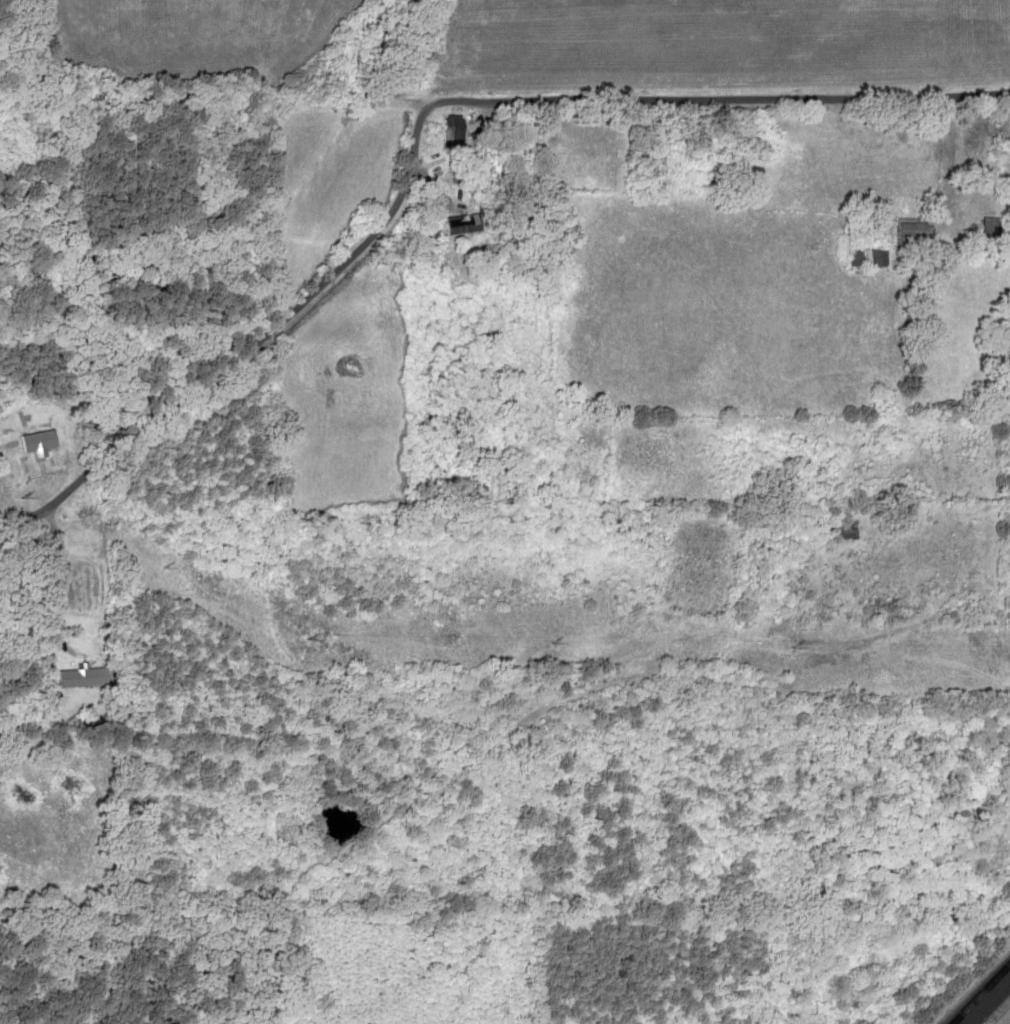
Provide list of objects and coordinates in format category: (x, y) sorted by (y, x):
road: (444, 127)
building: (454, 130)
building: (463, 223)
building: (991, 227)
building: (912, 230)
building: (867, 256)
building: (848, 529)
building: (89, 592)
building: (83, 676)
railway: (983, 996)
railway: (997, 1010)

